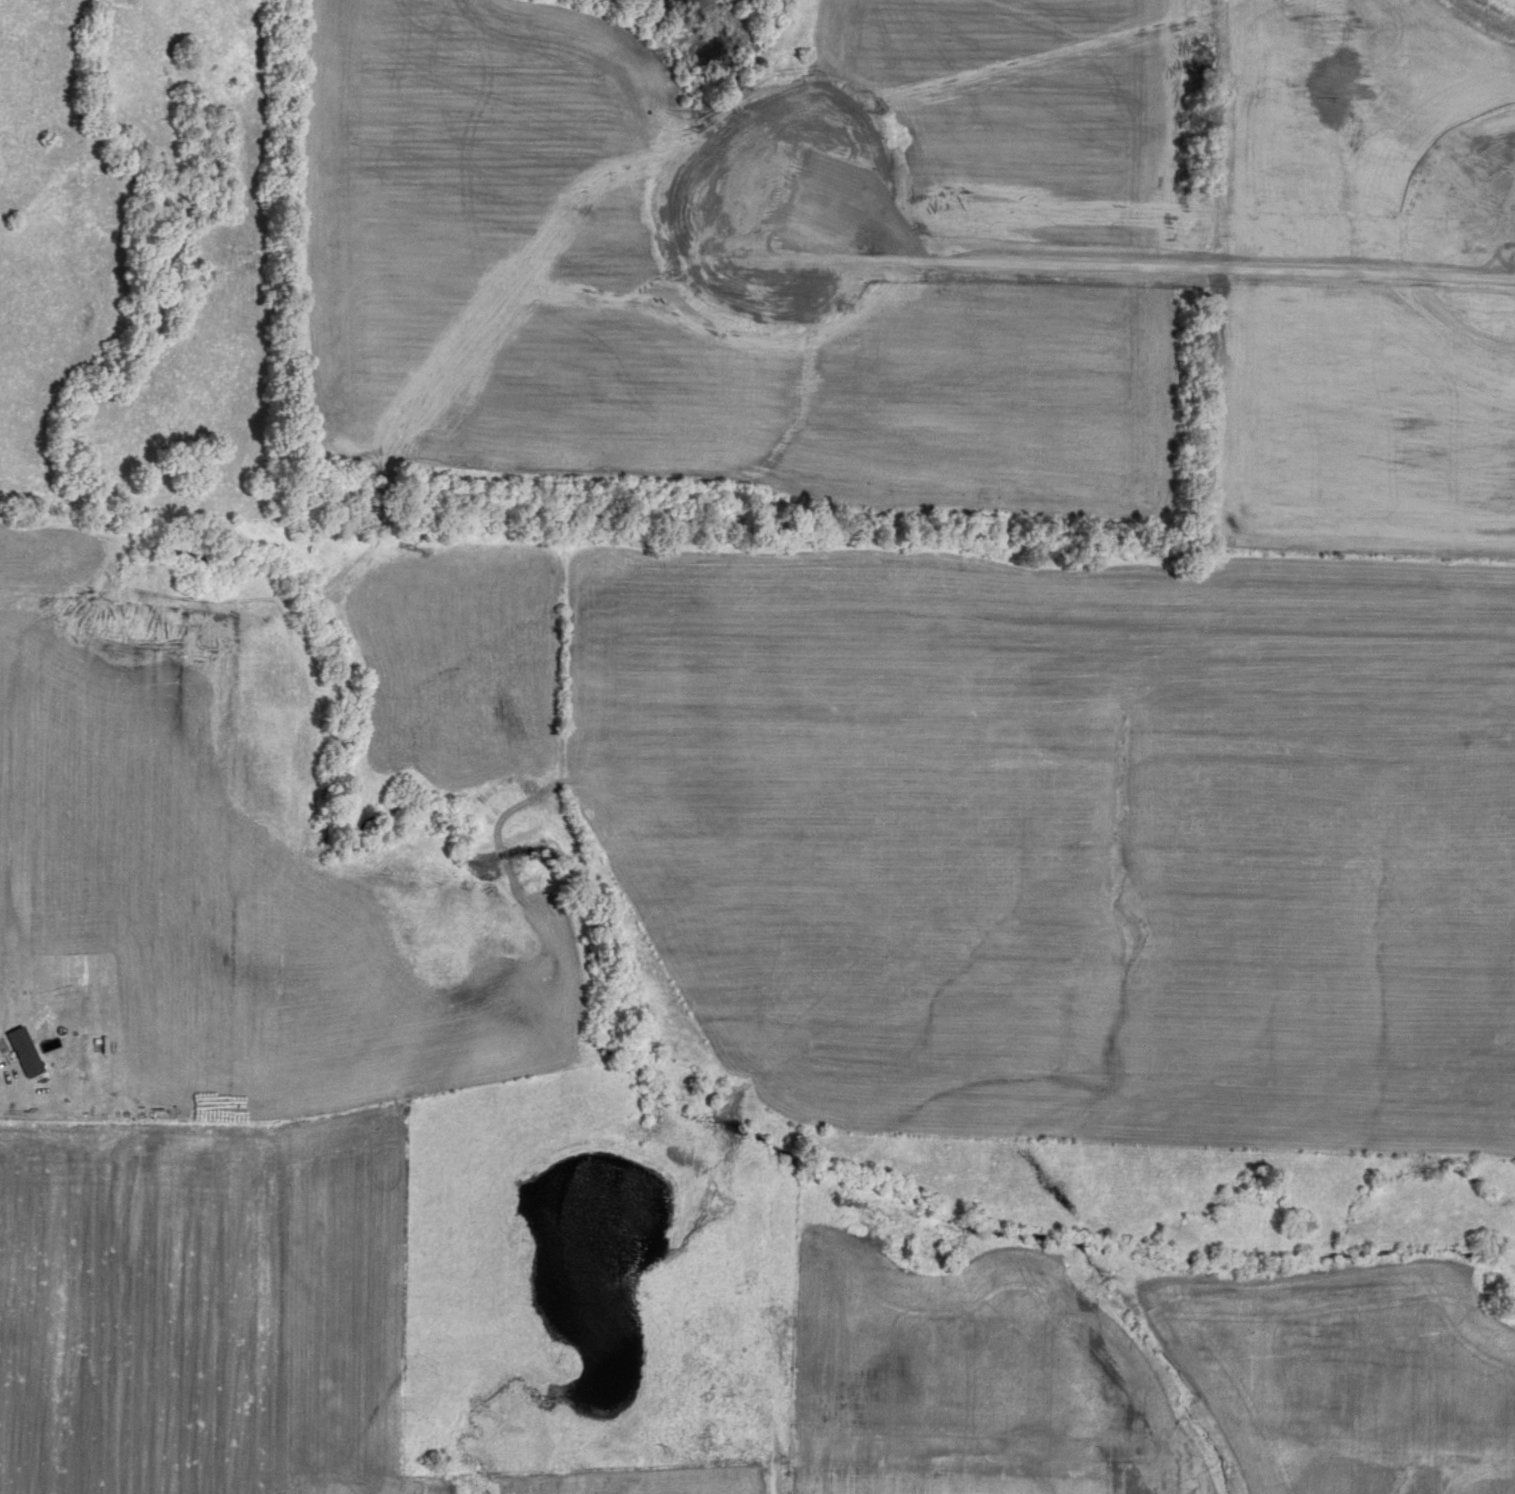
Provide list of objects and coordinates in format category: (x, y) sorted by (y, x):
wind turbine: (775, 195)
building: (22, 1049)
road: (13, 1090)

